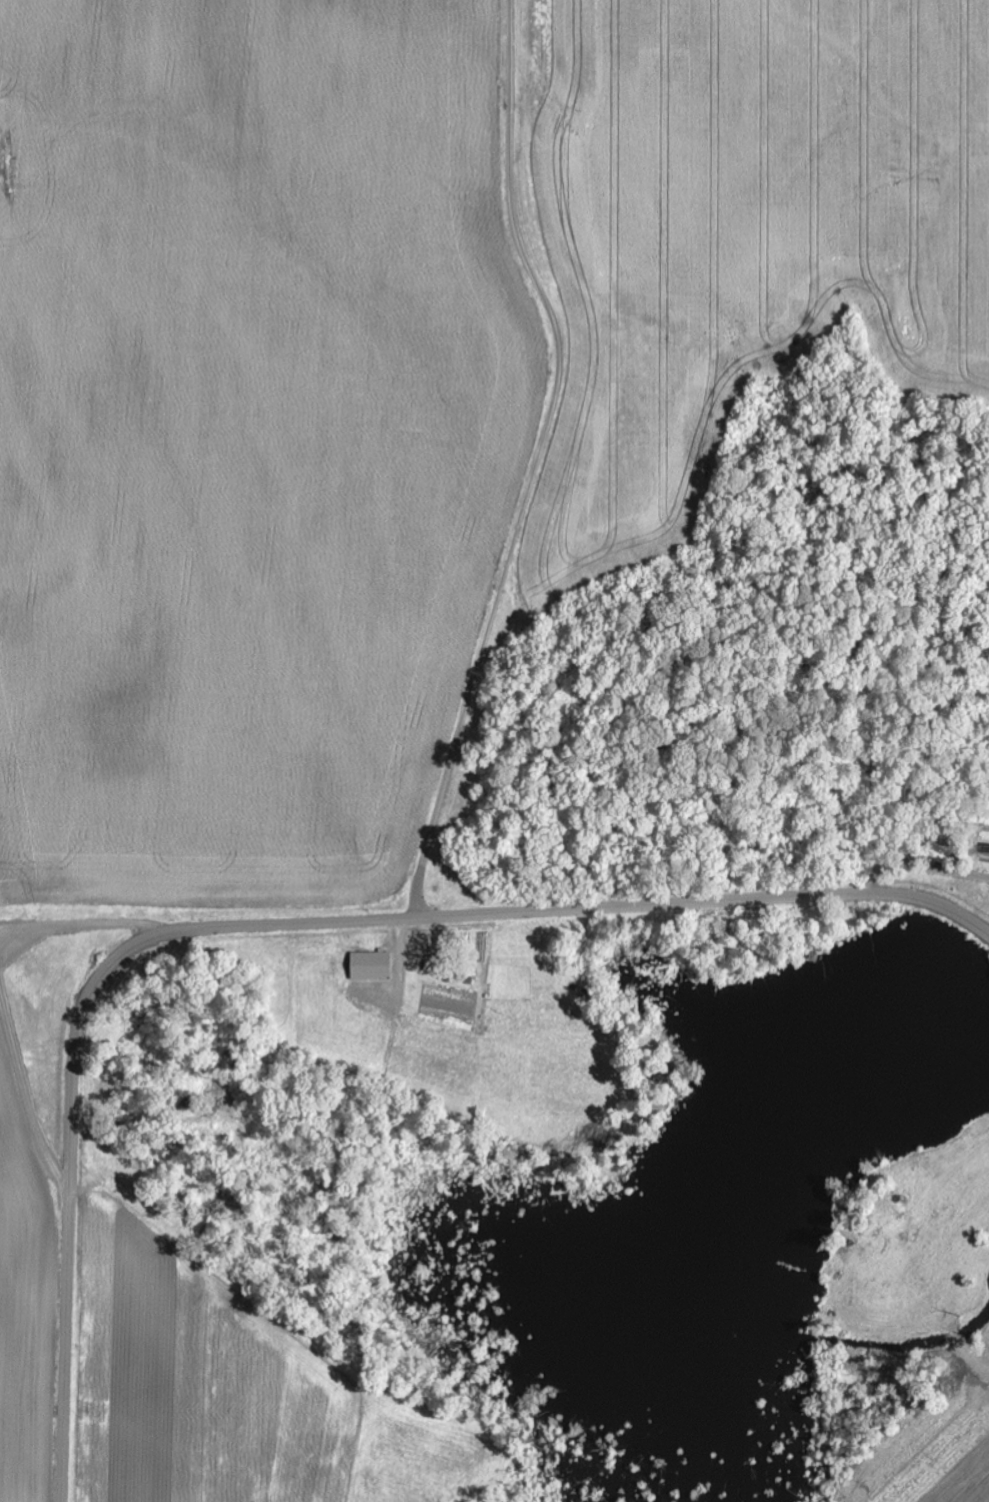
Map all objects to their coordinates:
road: (539, 461)
road: (278, 925)
building: (369, 966)
building: (433, 967)

